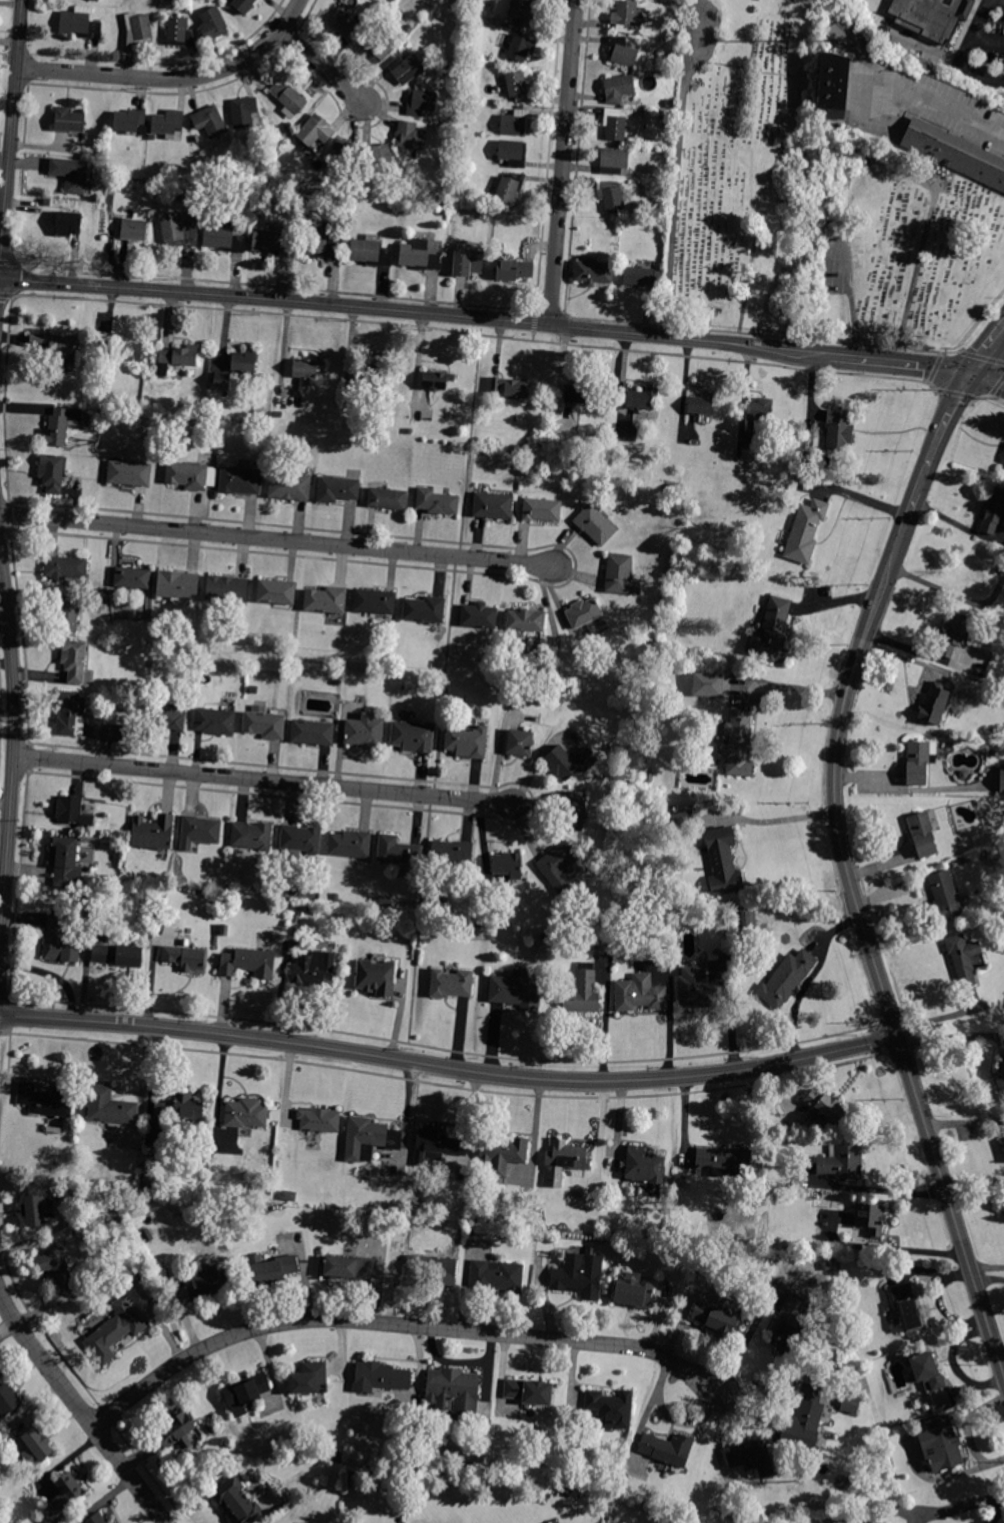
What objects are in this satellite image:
building: (96, 0)
building: (245, 5)
building: (524, 11)
building: (928, 15)
building: (627, 17)
building: (81, 23)
building: (213, 23)
building: (344, 27)
building: (138, 29)
building: (680, 29)
building: (180, 33)
road: (988, 40)
building: (380, 44)
building: (522, 46)
parking lot: (984, 47)
building: (469, 52)
building: (622, 53)
road: (9, 54)
road: (965, 55)
building: (672, 56)
road: (323, 68)
building: (406, 68)
building: (440, 70)
road: (173, 79)
building: (834, 80)
building: (518, 86)
building: (618, 88)
building: (289, 99)
building: (421, 103)
building: (670, 103)
building: (244, 112)
road: (959, 115)
building: (69, 120)
building: (668, 120)
building: (210, 121)
building: (131, 122)
building: (168, 122)
building: (516, 123)
building: (614, 124)
building: (441, 125)
building: (290, 127)
building: (463, 127)
building: (314, 131)
building: (410, 136)
building: (923, 136)
building: (463, 138)
road: (11, 139)
building: (512, 152)
building: (341, 154)
building: (377, 160)
building: (613, 160)
building: (972, 160)
road: (563, 162)
building: (237, 169)
building: (71, 174)
building: (467, 174)
building: (939, 176)
road: (677, 181)
building: (111, 182)
building: (509, 187)
building: (353, 195)
building: (611, 196)
building: (418, 199)
building: (446, 206)
building: (396, 209)
park: (815, 210)
building: (484, 215)
building: (68, 223)
building: (134, 229)
building: (289, 229)
building: (179, 230)
building: (223, 239)
building: (320, 243)
building: (272, 244)
building: (370, 253)
building: (422, 254)
road: (8, 260)
building: (467, 262)
parking lot: (836, 267)
building: (513, 270)
building: (593, 273)
road: (919, 273)
road: (750, 274)
building: (639, 277)
traffic signals: (0, 279)
road: (275, 284)
road: (6, 294)
road: (851, 300)
road: (549, 309)
road: (415, 312)
road: (533, 319)
road: (477, 331)
road: (764, 332)
road: (531, 334)
building: (55, 343)
building: (124, 350)
road: (988, 350)
road: (940, 352)
road: (981, 355)
building: (177, 358)
road: (901, 360)
building: (244, 361)
road: (933, 367)
building: (307, 368)
traffic signals: (973, 372)
building: (372, 374)
road: (988, 378)
building: (222, 380)
building: (436, 380)
road: (997, 385)
building: (511, 386)
road: (955, 391)
building: (578, 393)
road: (987, 395)
road: (3, 398)
building: (641, 398)
building: (701, 404)
building: (760, 409)
building: (103, 413)
building: (217, 424)
building: (61, 426)
building: (356, 426)
building: (838, 429)
road: (932, 448)
building: (272, 449)
building: (1003, 459)
building: (1003, 468)
building: (52, 473)
building: (129, 473)
building: (187, 476)
building: (240, 481)
building: (289, 486)
building: (672, 488)
building: (338, 489)
building: (388, 499)
building: (437, 501)
building: (493, 505)
building: (542, 510)
building: (994, 512)
road: (9, 515)
building: (595, 524)
building: (805, 532)
road: (278, 540)
road: (574, 563)
building: (66, 567)
building: (619, 573)
building: (132, 577)
building: (178, 587)
building: (227, 590)
building: (277, 592)
building: (326, 600)
building: (375, 601)
building: (424, 609)
building: (584, 612)
building: (66, 615)
building: (479, 616)
building: (526, 620)
building: (772, 632)
building: (954, 634)
road: (22, 635)
building: (74, 660)
building: (707, 684)
road: (792, 685)
road: (443, 686)
building: (128, 703)
building: (934, 704)
building: (71, 714)
building: (165, 716)
building: (215, 722)
building: (265, 723)
building: (365, 731)
building: (312, 733)
building: (413, 737)
road: (15, 739)
building: (467, 741)
building: (519, 743)
building: (739, 744)
road: (27, 755)
building: (570, 762)
building: (917, 762)
building: (650, 777)
road: (264, 780)
building: (1002, 780)
road: (534, 802)
building: (73, 812)
building: (574, 812)
building: (683, 820)
road: (773, 820)
building: (153, 832)
building: (199, 832)
building: (922, 834)
building: (251, 836)
building: (300, 840)
building: (350, 844)
building: (398, 851)
building: (452, 853)
building: (65, 862)
building: (723, 862)
building: (508, 864)
building: (560, 868)
building: (121, 877)
road: (17, 882)
building: (944, 895)
building: (336, 897)
building: (683, 915)
building: (296, 919)
building: (225, 930)
building: (60, 943)
building: (117, 955)
road: (872, 955)
building: (185, 958)
building: (963, 958)
building: (249, 963)
building: (313, 969)
building: (377, 977)
building: (787, 978)
building: (452, 984)
building: (699, 988)
building: (516, 990)
building: (580, 992)
building: (639, 993)
road: (4, 997)
road: (1, 1030)
road: (882, 1036)
road: (444, 1046)
road: (898, 1048)
building: (1001, 1064)
road: (448, 1069)
road: (445, 1083)
building: (47, 1100)
building: (181, 1106)
building: (827, 1106)
building: (110, 1107)
building: (246, 1113)
building: (320, 1120)
building: (369, 1139)
building: (437, 1146)
building: (501, 1153)
building: (563, 1161)
building: (724, 1161)
building: (842, 1161)
building: (644, 1165)
building: (283, 1201)
building: (38, 1208)
building: (870, 1218)
building: (656, 1232)
road: (914, 1249)
building: (54, 1266)
building: (825, 1266)
building: (350, 1267)
building: (271, 1268)
building: (433, 1269)
building: (580, 1274)
building: (128, 1276)
building: (497, 1276)
building: (209, 1283)
building: (634, 1294)
building: (907, 1306)
building: (714, 1318)
road: (396, 1324)
road: (41, 1327)
building: (788, 1327)
building: (115, 1330)
building: (927, 1371)
building: (380, 1377)
building: (310, 1379)
building: (454, 1392)
building: (529, 1392)
building: (246, 1393)
building: (8, 1399)
building: (850, 1404)
building: (612, 1408)
building: (484, 1409)
road: (80, 1410)
road: (107, 1415)
building: (804, 1419)
building: (176, 1430)
building: (941, 1444)
building: (36, 1448)
building: (667, 1449)
building: (751, 1456)
road: (145, 1465)
building: (67, 1491)
building: (237, 1501)
road: (931, 1512)
building: (97, 1518)

